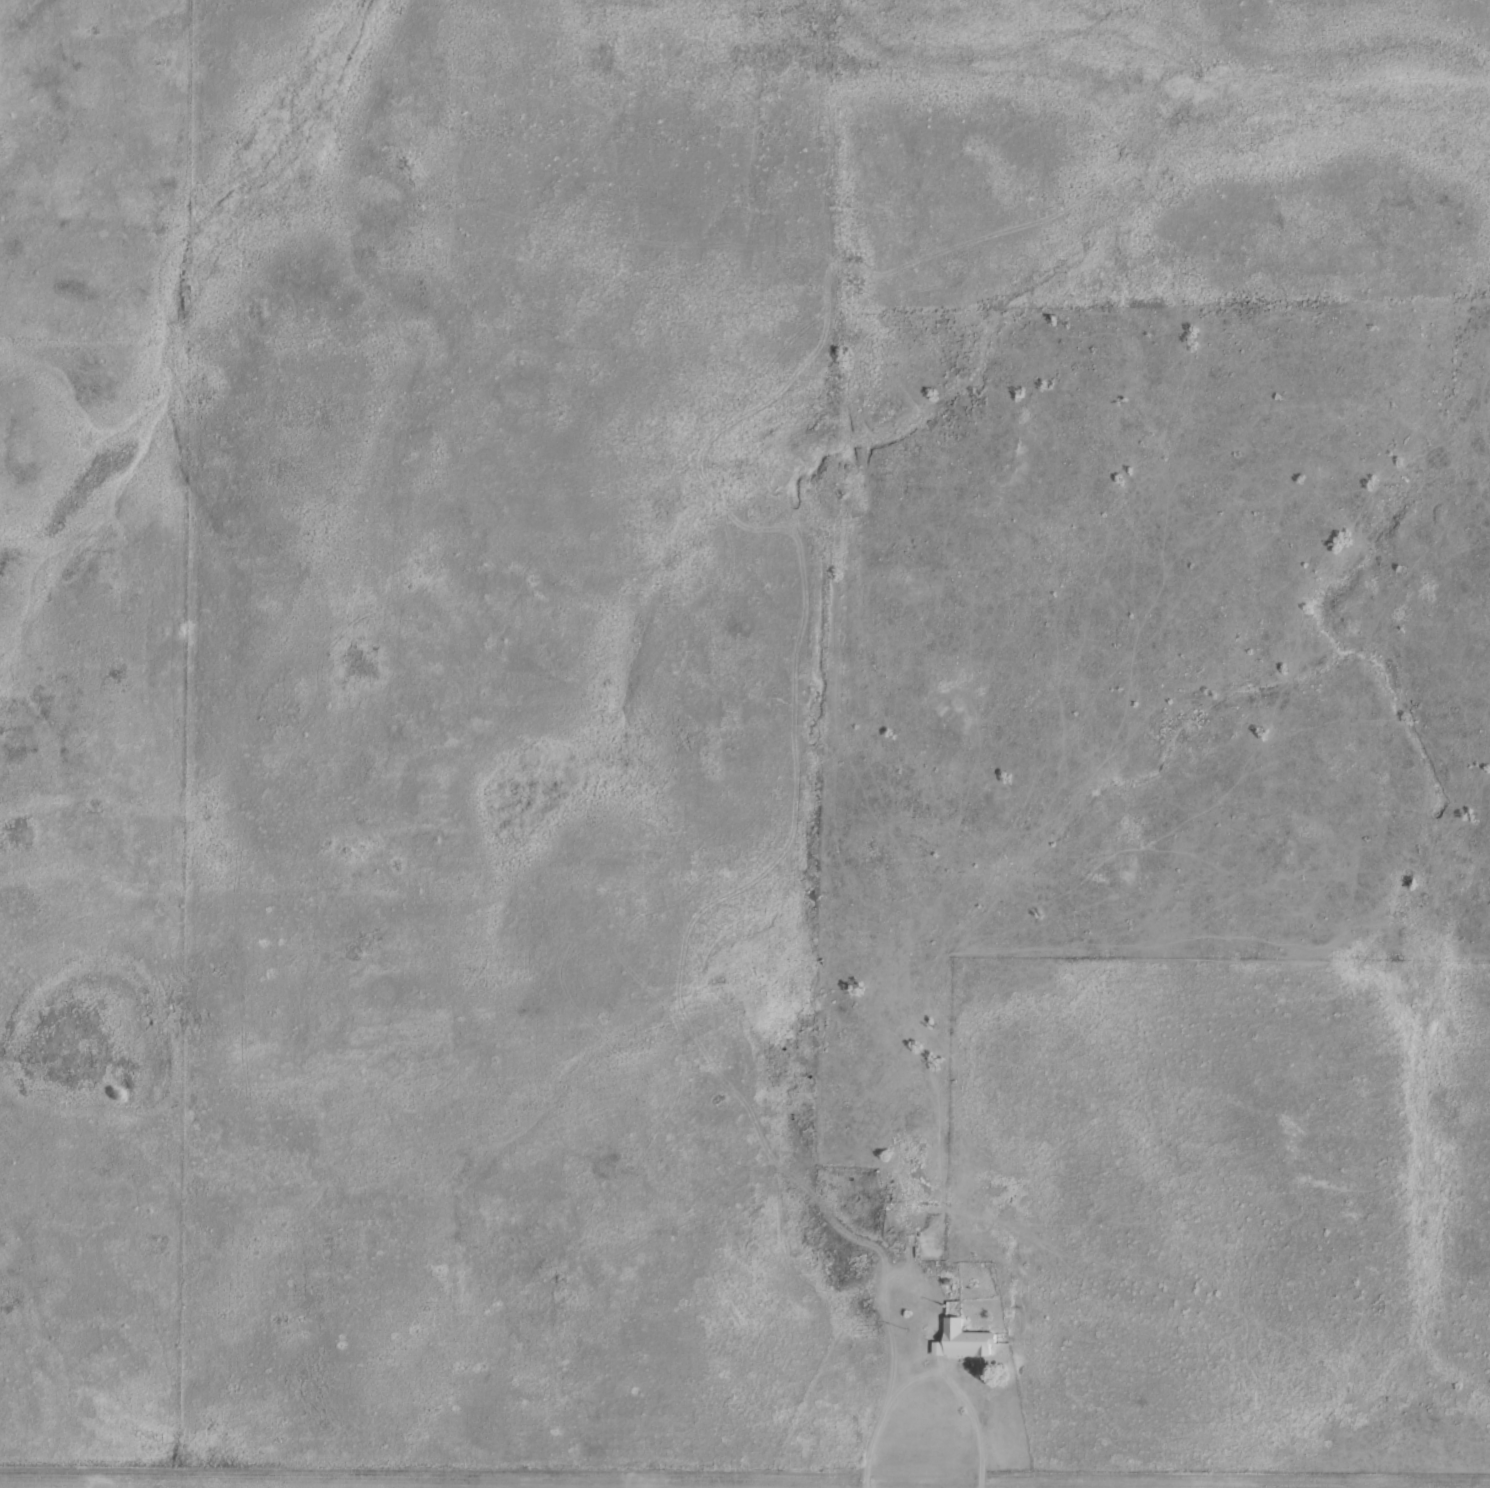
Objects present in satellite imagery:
building: (969, 1340)

